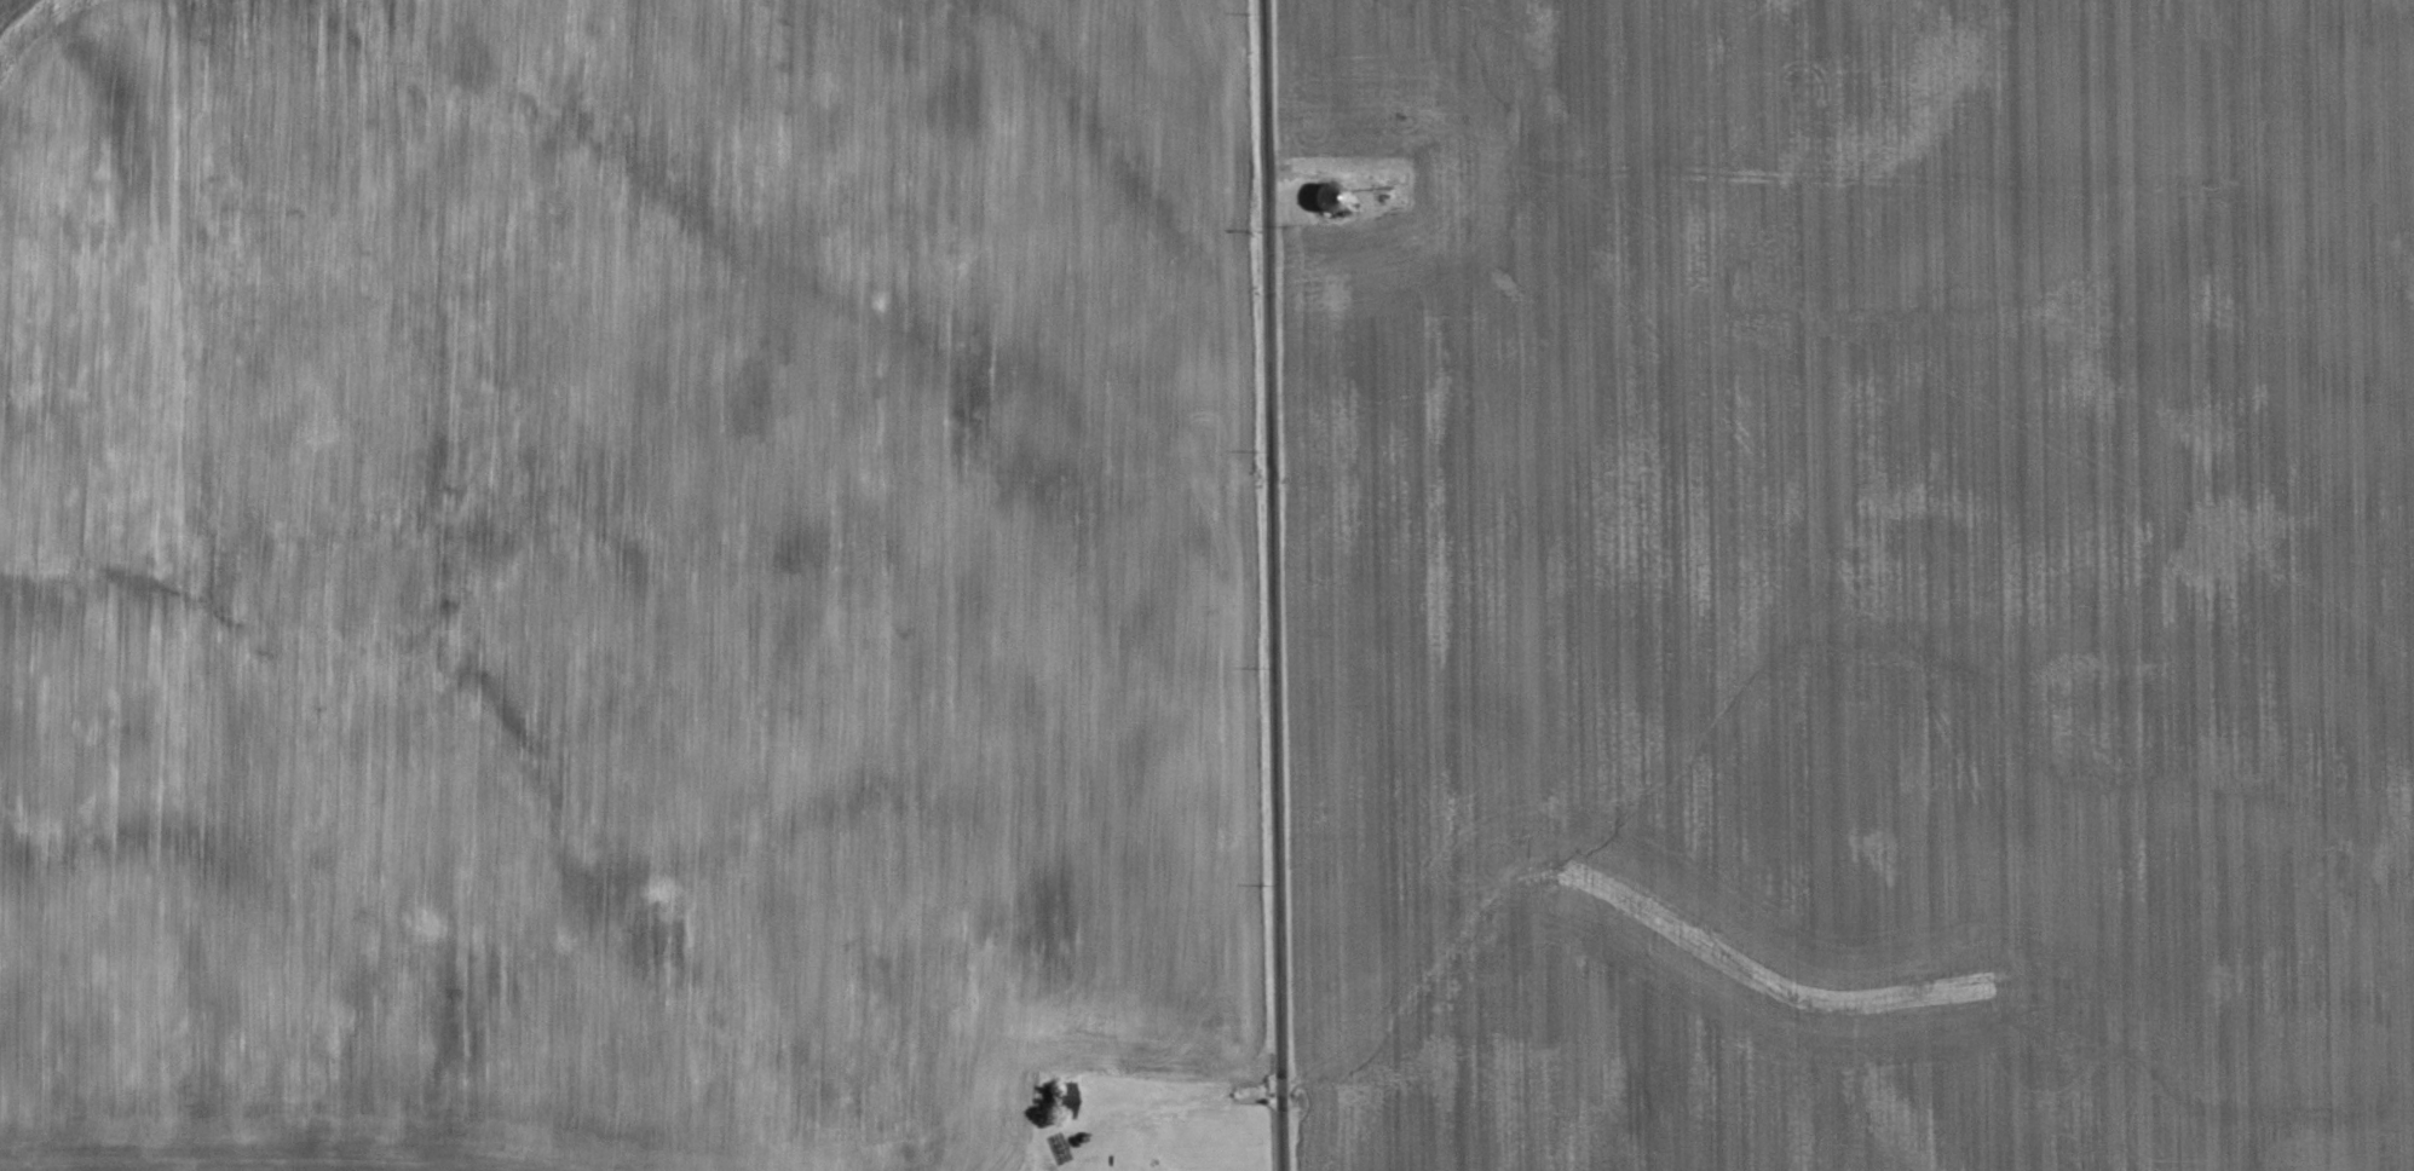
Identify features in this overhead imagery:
road: (1272, 584)

